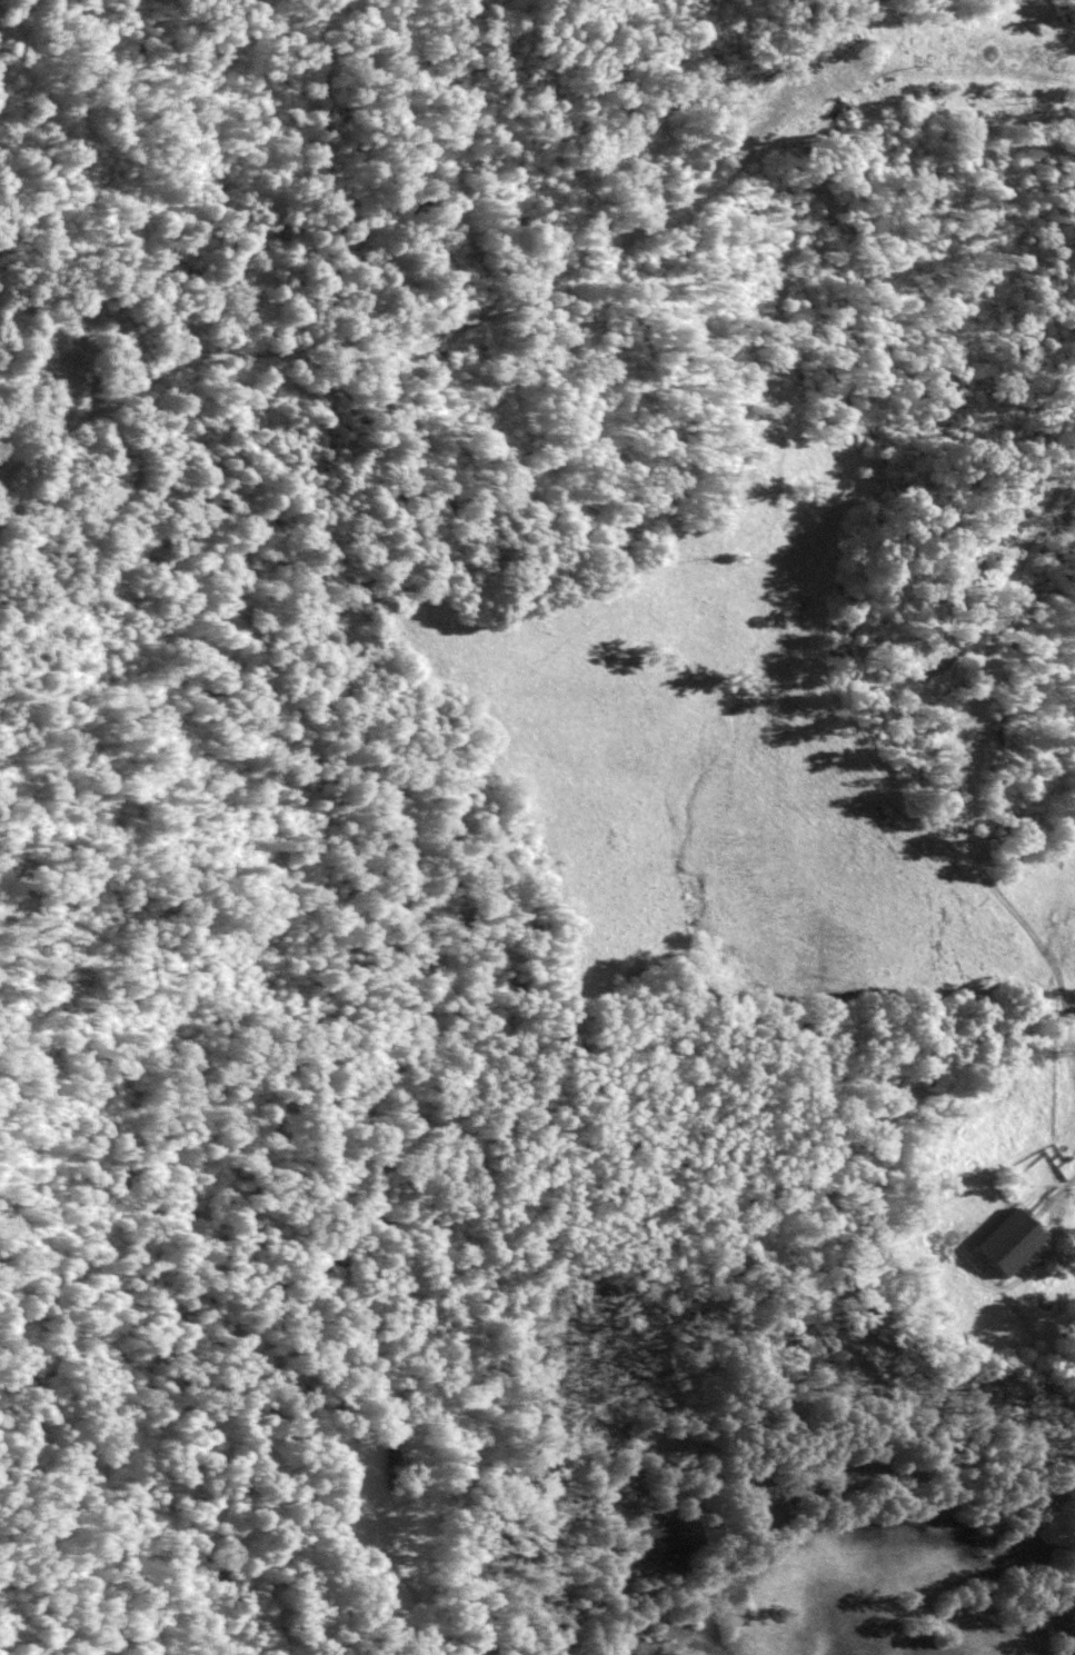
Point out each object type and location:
building: (991, 1242)

